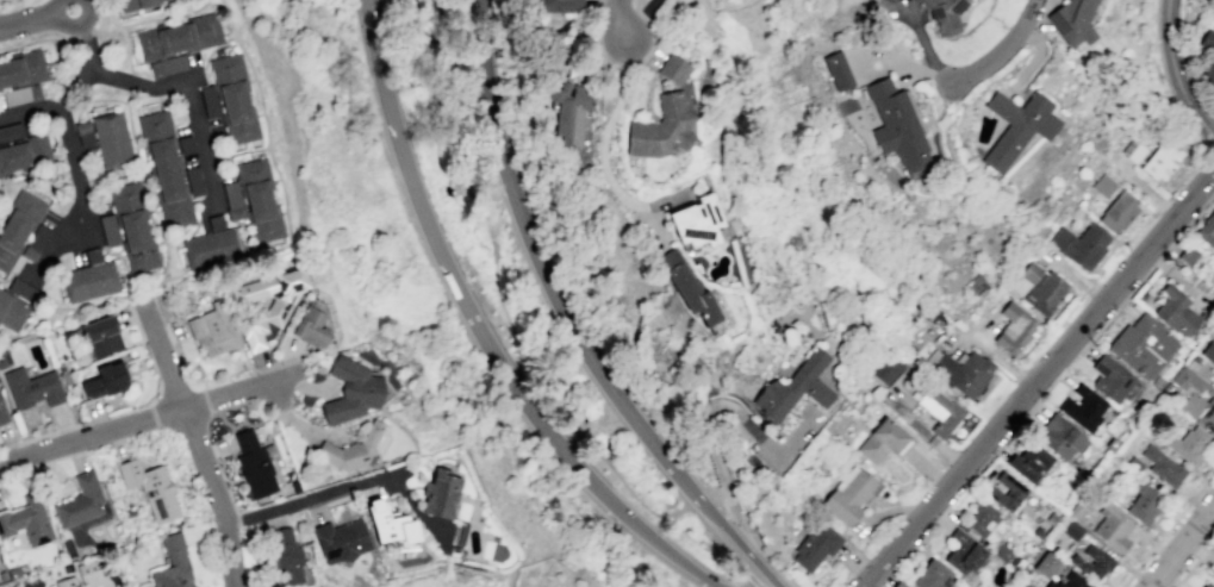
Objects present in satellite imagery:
building: (167, 1)
building: (137, 5)
building: (559, 5)
building: (944, 14)
road: (101, 15)
road: (150, 18)
road: (622, 19)
road: (26, 20)
building: (1071, 21)
road: (70, 26)
road: (652, 32)
road: (85, 36)
building: (179, 37)
building: (1208, 38)
road: (36, 40)
road: (596, 43)
road: (922, 44)
road: (127, 48)
road: (447, 49)
road: (1001, 50)
road: (208, 54)
road: (1034, 58)
road: (379, 60)
road: (51, 61)
road: (57, 61)
road: (631, 65)
building: (168, 67)
road: (903, 68)
building: (25, 69)
building: (672, 69)
road: (1178, 69)
building: (835, 70)
building: (1209, 71)
road: (127, 81)
road: (180, 82)
road: (1169, 83)
road: (95, 99)
building: (235, 99)
building: (210, 102)
road: (54, 105)
building: (568, 112)
road: (446, 113)
building: (896, 126)
building: (1017, 126)
building: (660, 127)
building: (11, 132)
building: (86, 133)
building: (112, 139)
building: (185, 144)
road: (436, 149)
building: (1133, 150)
building: (35, 152)
road: (237, 152)
road: (603, 160)
building: (1162, 160)
road: (1209, 161)
building: (4, 163)
building: (167, 170)
road: (46, 177)
road: (452, 177)
building: (194, 181)
road: (147, 185)
building: (1103, 185)
road: (1144, 192)
building: (231, 193)
road: (6, 198)
road: (79, 198)
building: (260, 201)
road: (479, 205)
building: (1117, 211)
building: (236, 212)
building: (696, 221)
building: (217, 224)
building: (18, 229)
building: (135, 229)
building: (110, 231)
building: (1206, 231)
road: (89, 238)
building: (36, 244)
building: (1079, 244)
road: (438, 248)
building: (211, 249)
road: (493, 251)
road: (263, 254)
building: (1187, 255)
road: (120, 256)
building: (1031, 271)
road: (1146, 273)
road: (548, 276)
road: (1078, 277)
building: (92, 282)
building: (686, 287)
building: (23, 291)
building: (1045, 293)
building: (274, 295)
building: (1175, 311)
building: (12, 312)
road: (985, 326)
building: (1014, 327)
building: (216, 331)
building: (254, 332)
building: (312, 332)
building: (102, 341)
building: (1143, 345)
road: (992, 351)
building: (1208, 351)
building: (889, 369)
building: (959, 370)
road: (1039, 379)
building: (1113, 380)
building: (1156, 382)
building: (107, 386)
building: (793, 388)
building: (32, 391)
building: (350, 393)
building: (1196, 398)
road: (530, 405)
road: (708, 407)
building: (1082, 407)
building: (940, 411)
building: (2, 412)
road: (136, 420)
road: (298, 425)
building: (1058, 436)
building: (884, 441)
building: (1187, 443)
road: (197, 444)
building: (1112, 444)
building: (353, 451)
road: (599, 455)
building: (1028, 461)
building: (254, 463)
building: (1134, 464)
building: (1162, 466)
road: (396, 472)
road: (349, 485)
building: (150, 488)
building: (1006, 491)
building: (848, 494)
building: (440, 497)
building: (80, 501)
building: (1144, 502)
building: (1076, 511)
building: (980, 517)
building: (26, 520)
road: (631, 522)
building: (391, 524)
building: (1113, 527)
road: (1168, 527)
building: (1071, 529)
building: (341, 539)
road: (1182, 545)
building: (815, 547)
road: (742, 550)
building: (963, 551)
building: (1002, 552)
building: (287, 556)
building: (1091, 562)
road: (1194, 562)
building: (1016, 563)
building: (172, 564)
building: (1045, 564)
building: (88, 570)
road: (853, 573)
road: (753, 575)
building: (932, 575)
building: (1070, 581)
building: (66, 582)
building: (898, 583)
building: (1207, 585)
building: (1026, 586)

